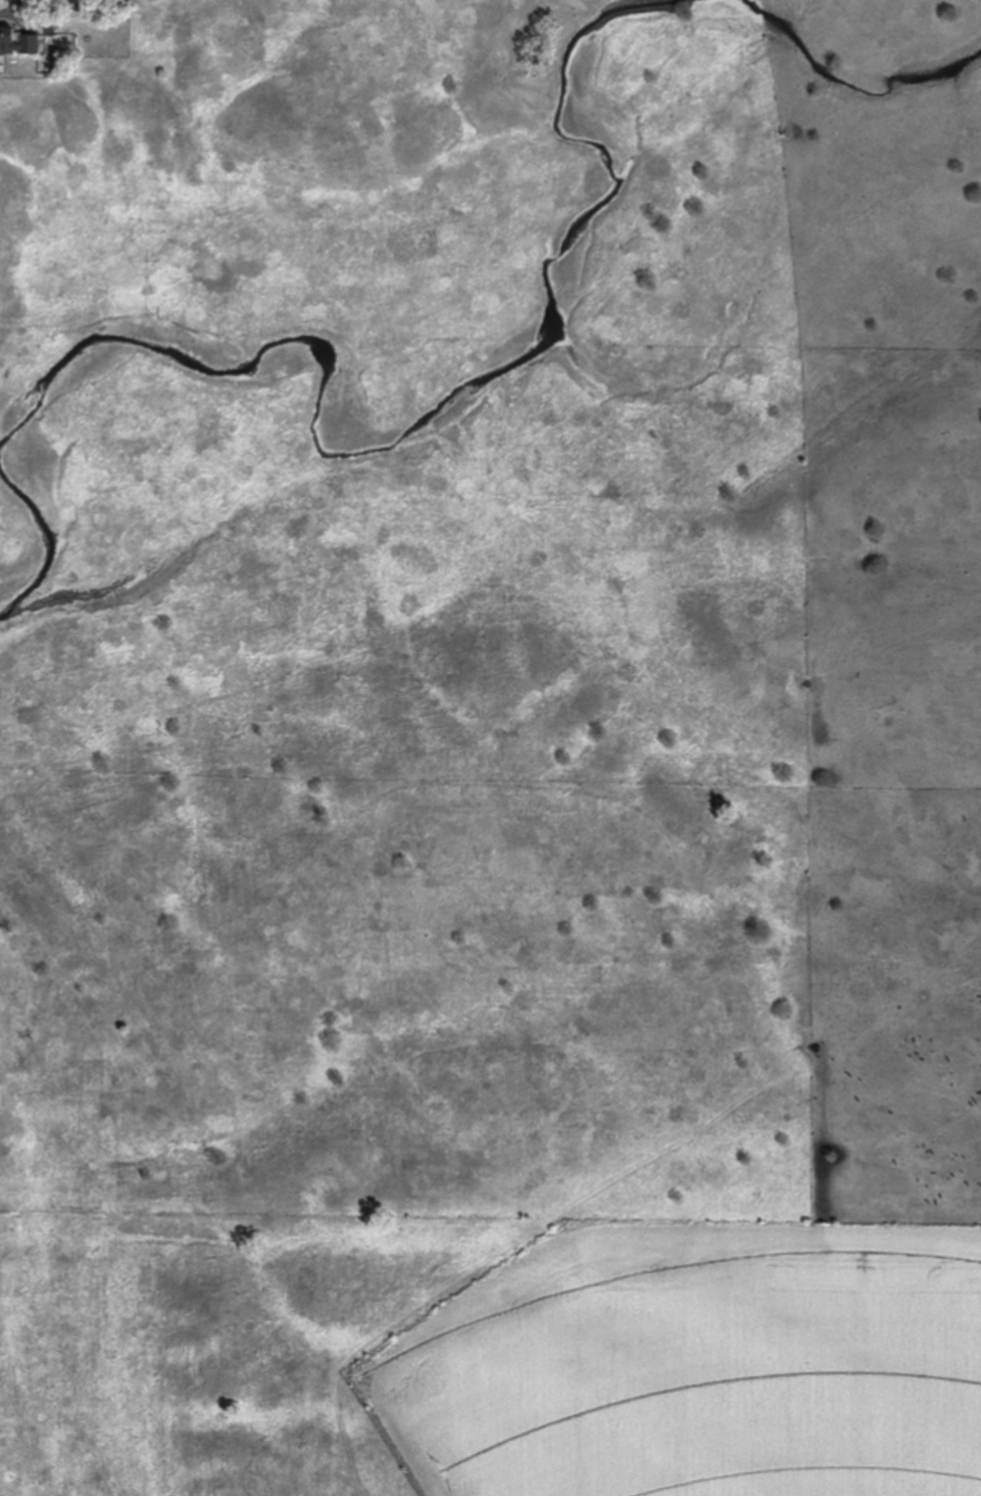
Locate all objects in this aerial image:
road: (10, 10)
building: (18, 42)

